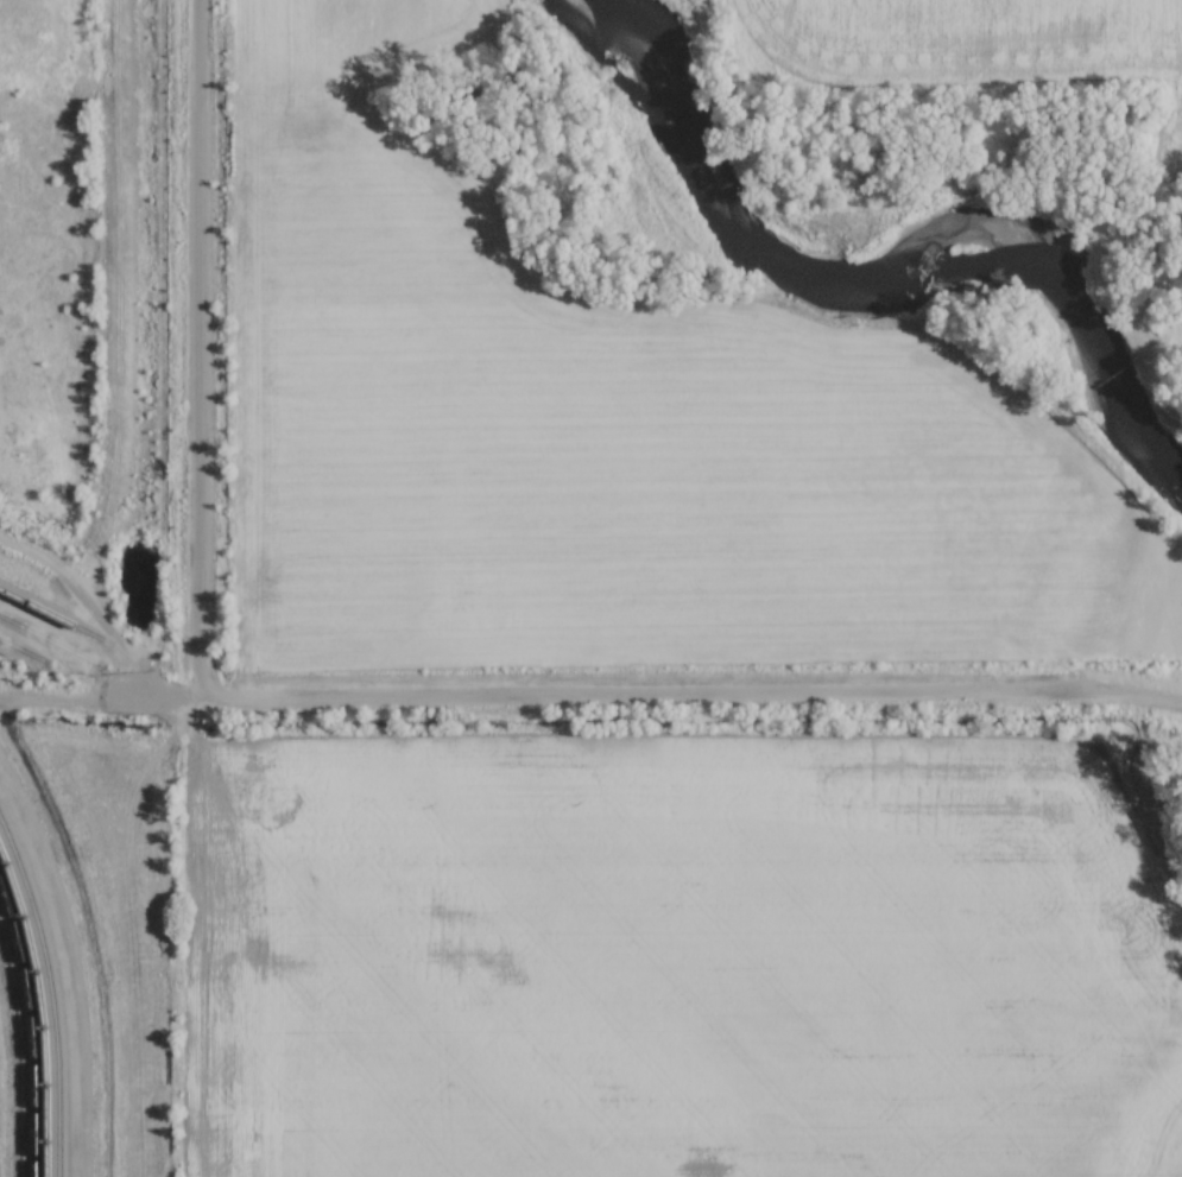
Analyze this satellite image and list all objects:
river: (898, 258)
road: (590, 697)

